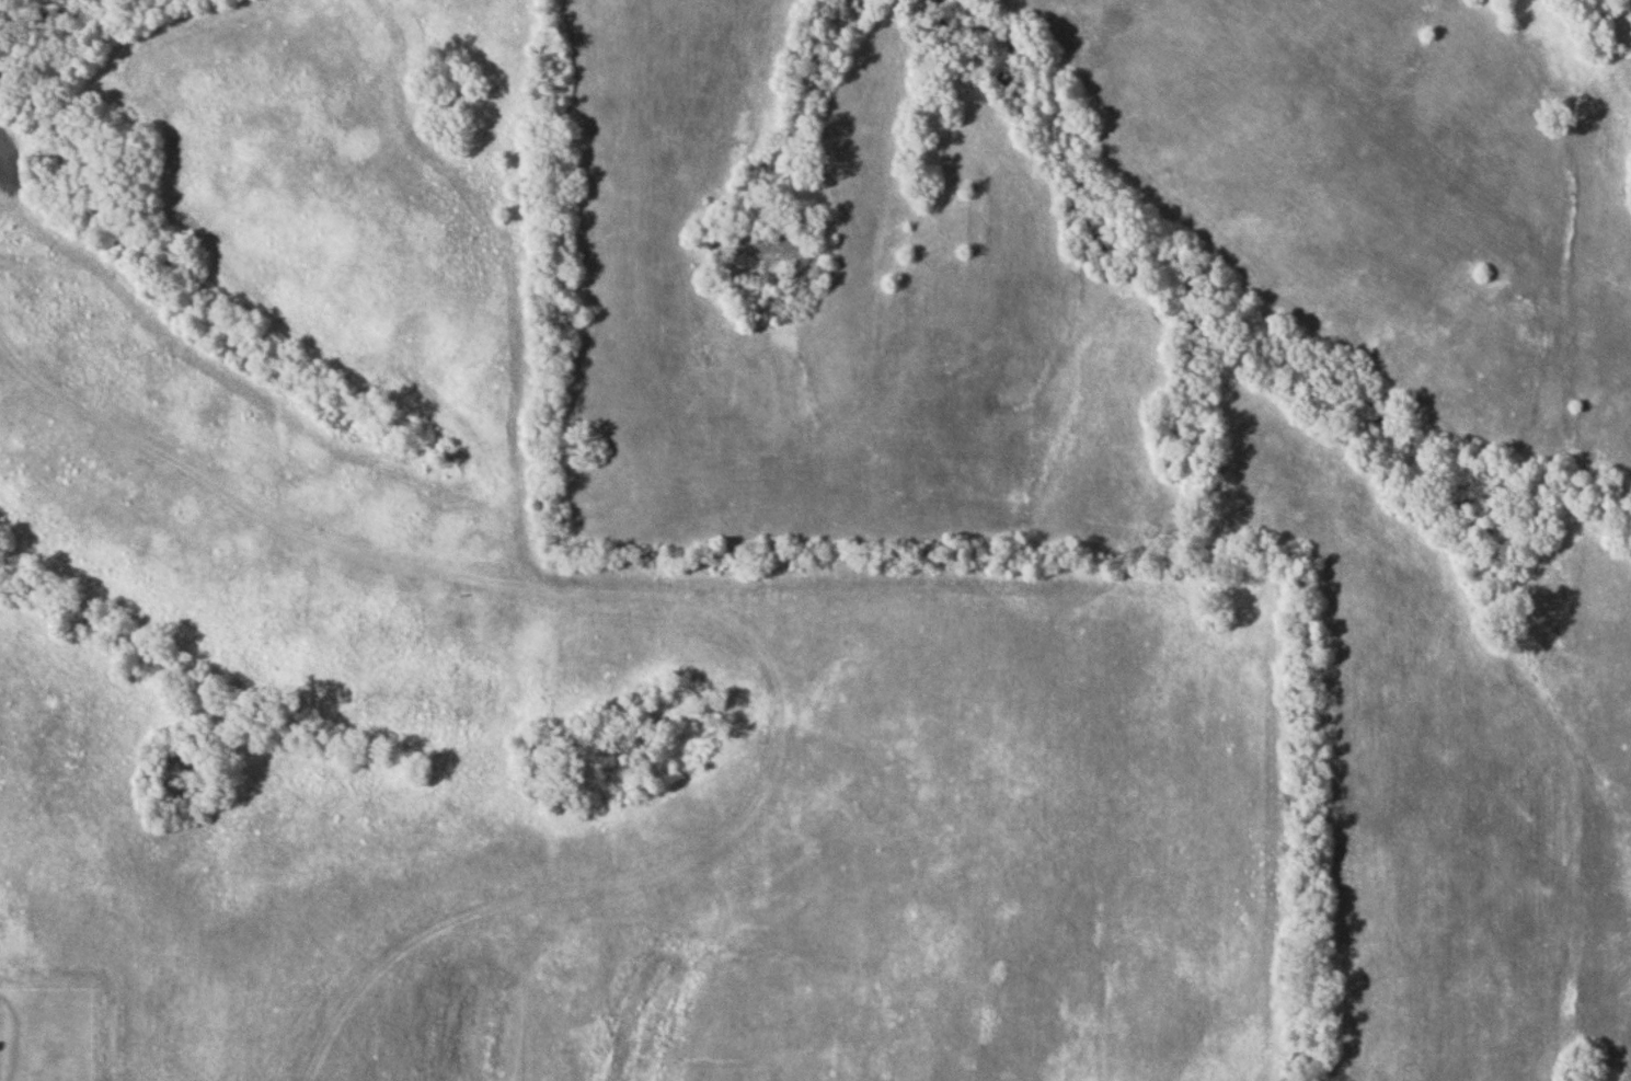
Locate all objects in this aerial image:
park: (47, 1032)
road: (18, 1035)

